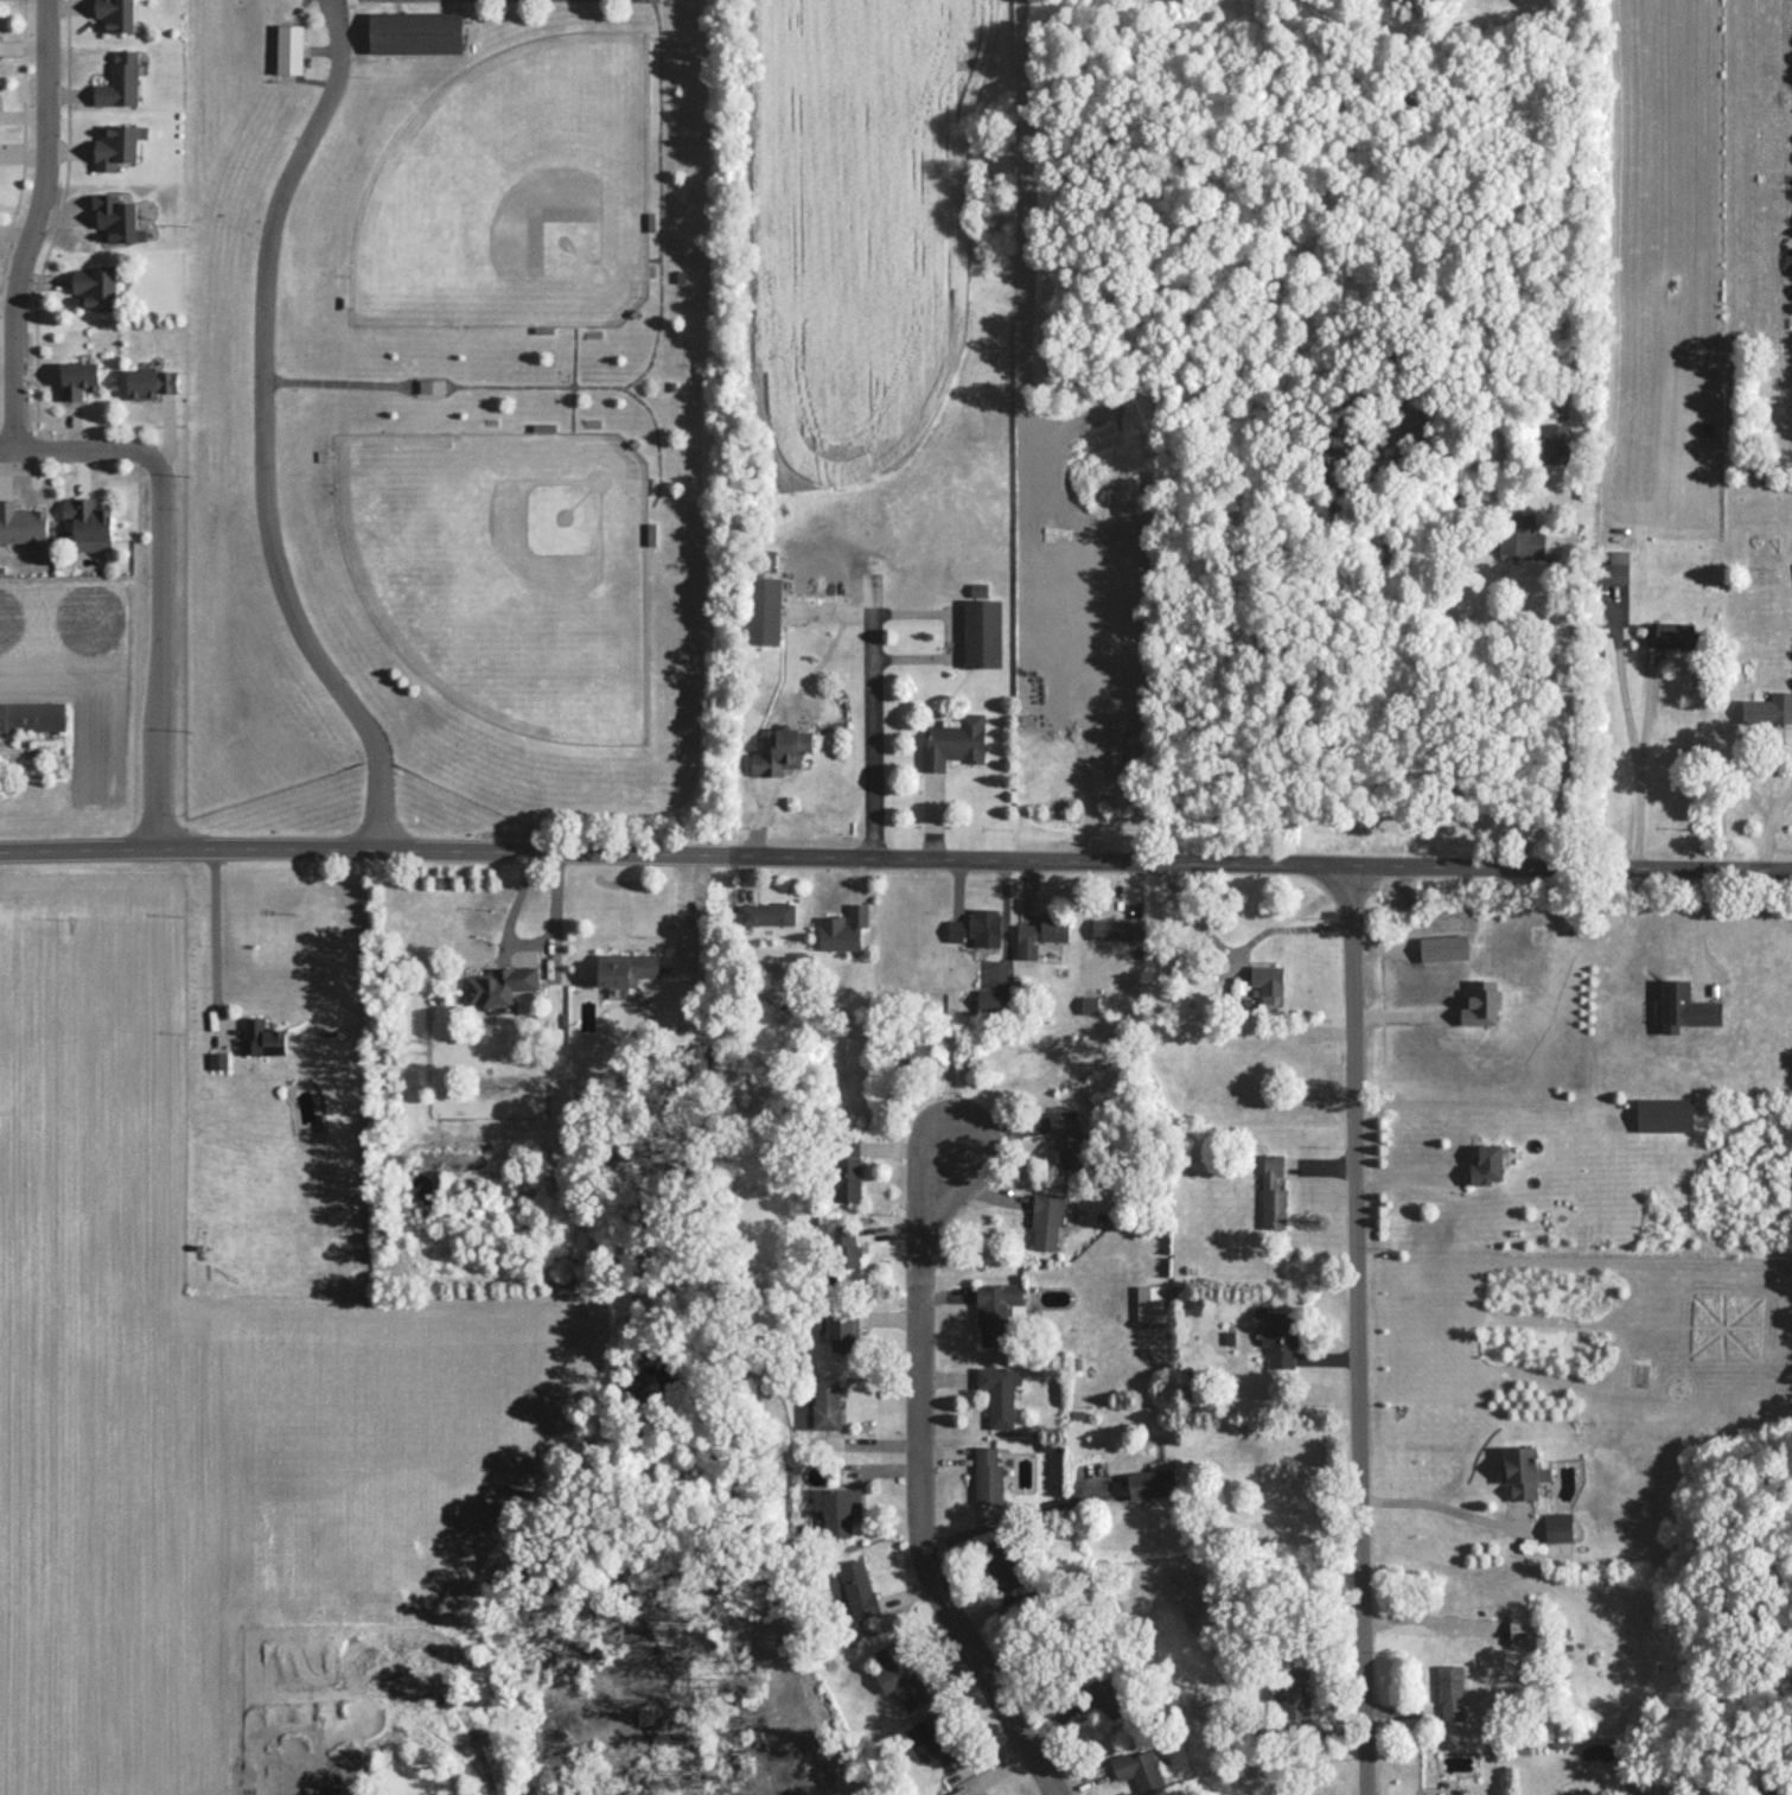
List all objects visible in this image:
parking lot: (613, 0)
building: (115, 14)
building: (415, 32)
building: (288, 49)
building: (120, 81)
building: (117, 145)
park: (528, 190)
road: (671, 198)
building: (116, 218)
road: (31, 225)
building: (95, 287)
road: (586, 377)
building: (78, 378)
road: (352, 381)
building: (149, 382)
road: (548, 383)
building: (431, 386)
road: (667, 422)
road: (279, 434)
building: (1556, 443)
road: (65, 452)
building: (89, 523)
building: (21, 524)
building: (1520, 539)
building: (1613, 568)
park: (519, 571)
building: (763, 611)
building: (982, 632)
building: (1671, 635)
road: (160, 643)
building: (1768, 709)
road: (1567, 712)
building: (32, 715)
road: (869, 718)
building: (954, 741)
building: (780, 751)
road: (1640, 763)
road: (1765, 802)
road: (409, 849)
road: (1305, 863)
building: (767, 914)
building: (977, 928)
building: (1117, 929)
building: (843, 930)
building: (1040, 935)
road: (215, 942)
building: (1443, 947)
road: (1236, 949)
building: (625, 972)
building: (1268, 982)
building: (500, 985)
building: (993, 999)
building: (1480, 1002)
building: (1089, 1005)
building: (1684, 1007)
building: (262, 1037)
building: (911, 1048)
building: (701, 1057)
building: (218, 1059)
building: (1664, 1114)
building: (1069, 1140)
building: (1487, 1165)
building: (847, 1170)
building: (1273, 1192)
building: (1046, 1220)
building: (847, 1247)
building: (1149, 1303)
building: (995, 1311)
road: (1358, 1329)
building: (841, 1332)
building: (1280, 1338)
building: (999, 1394)
building: (827, 1406)
building: (1522, 1471)
building: (988, 1476)
road: (917, 1481)
building: (1153, 1482)
road: (1452, 1506)
building: (841, 1510)
road: (1008, 1517)
building: (1557, 1527)
building: (1001, 1565)
building: (857, 1589)
building: (1523, 1630)
building: (900, 1675)
building: (1450, 1693)
building: (1294, 1695)
building: (1104, 1698)
building: (937, 1737)
building: (1139, 1770)
building: (961, 1791)
building: (988, 1794)

